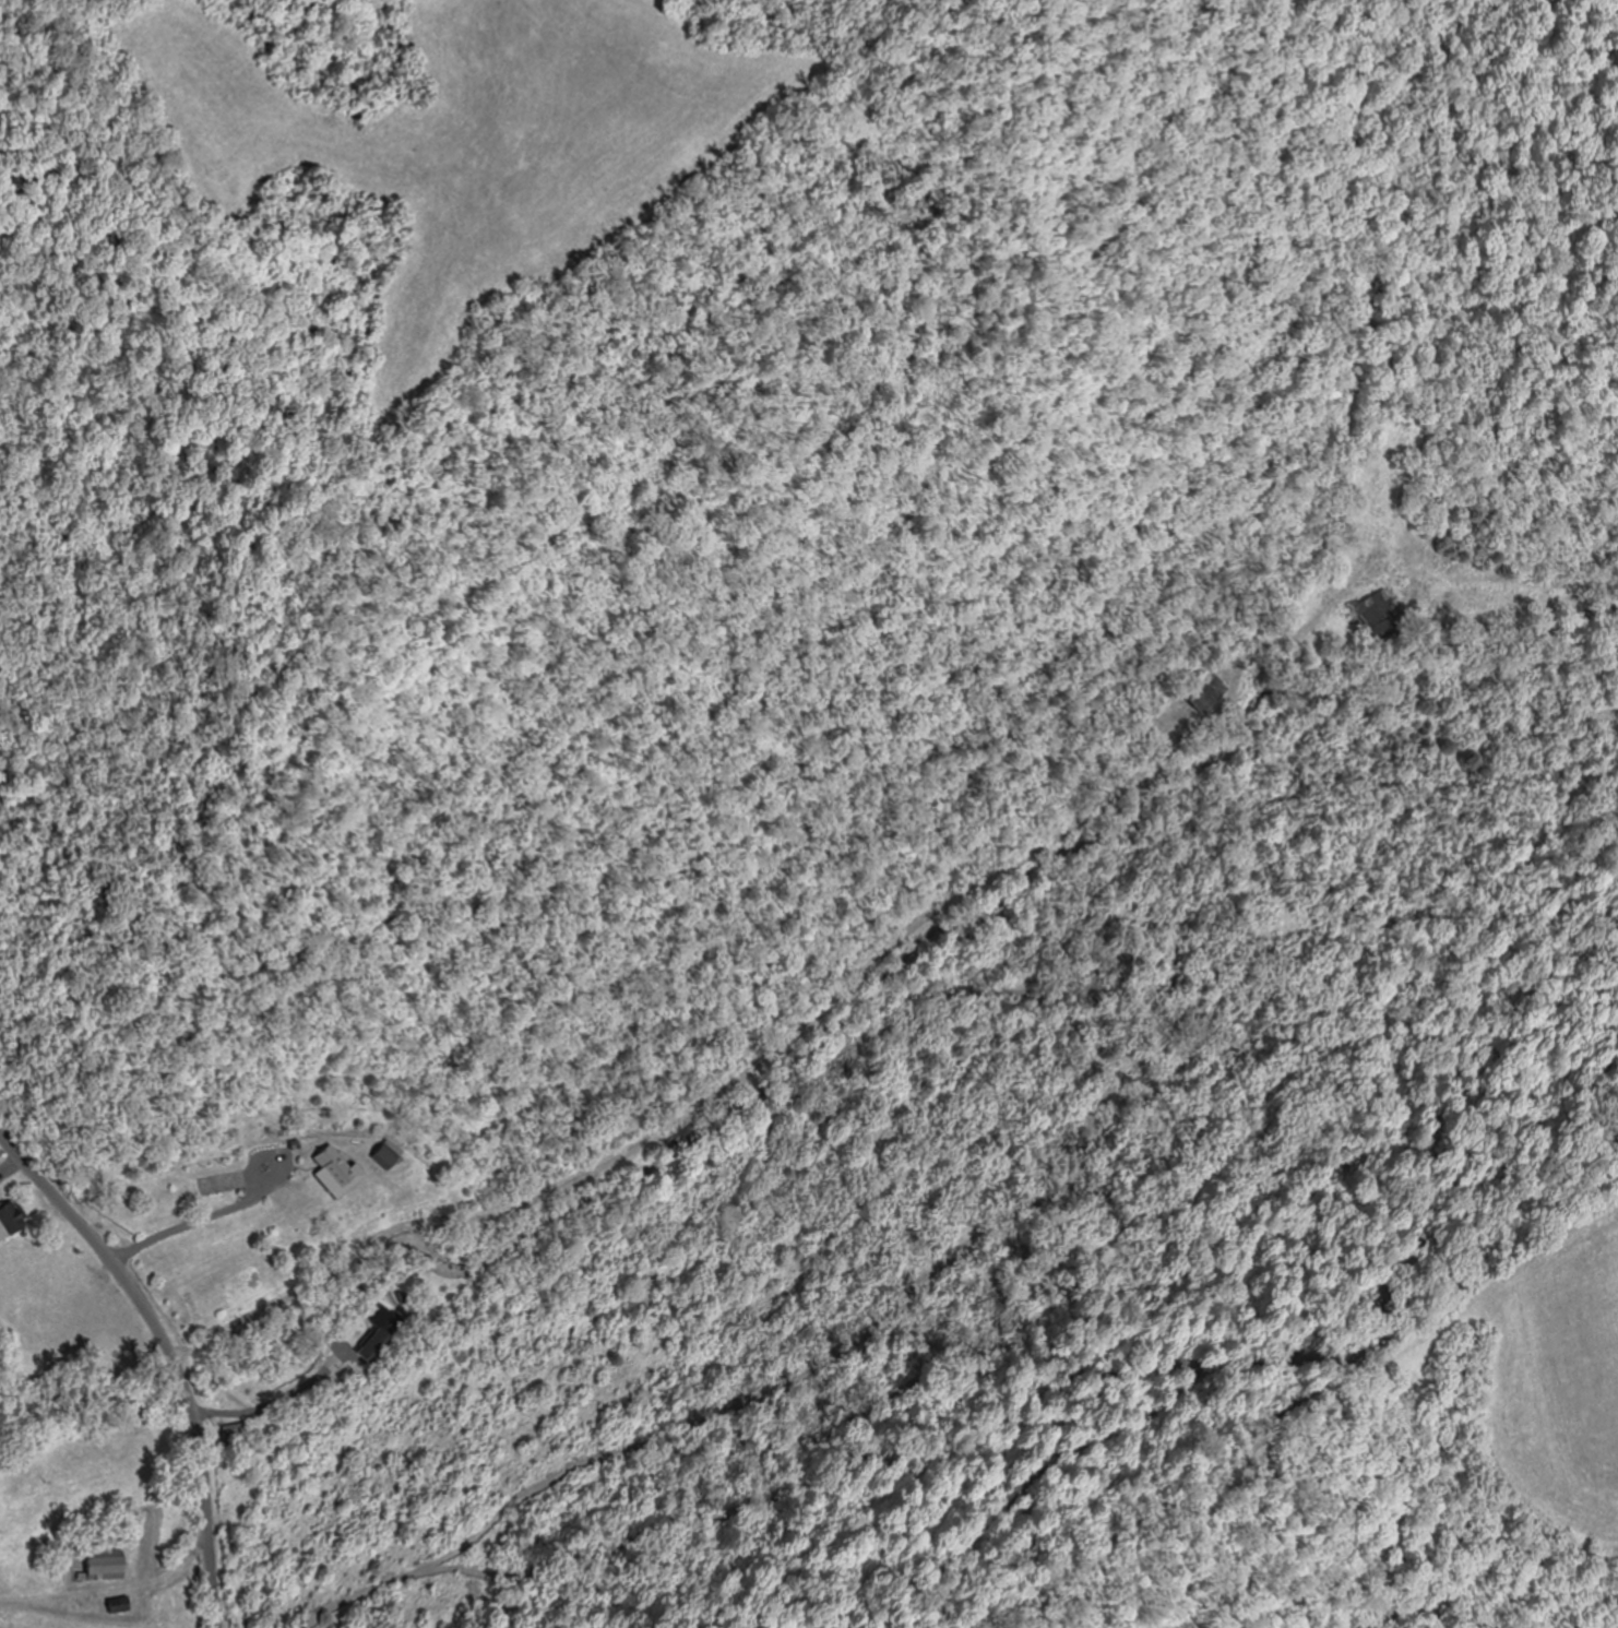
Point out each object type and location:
building: (1375, 617)
building: (1203, 690)
road: (792, 995)
building: (391, 1157)
building: (340, 1173)
building: (13, 1222)
building: (382, 1336)
road: (178, 1346)
building: (241, 1433)
building: (108, 1565)
building: (121, 1605)
road: (1464, 1607)

